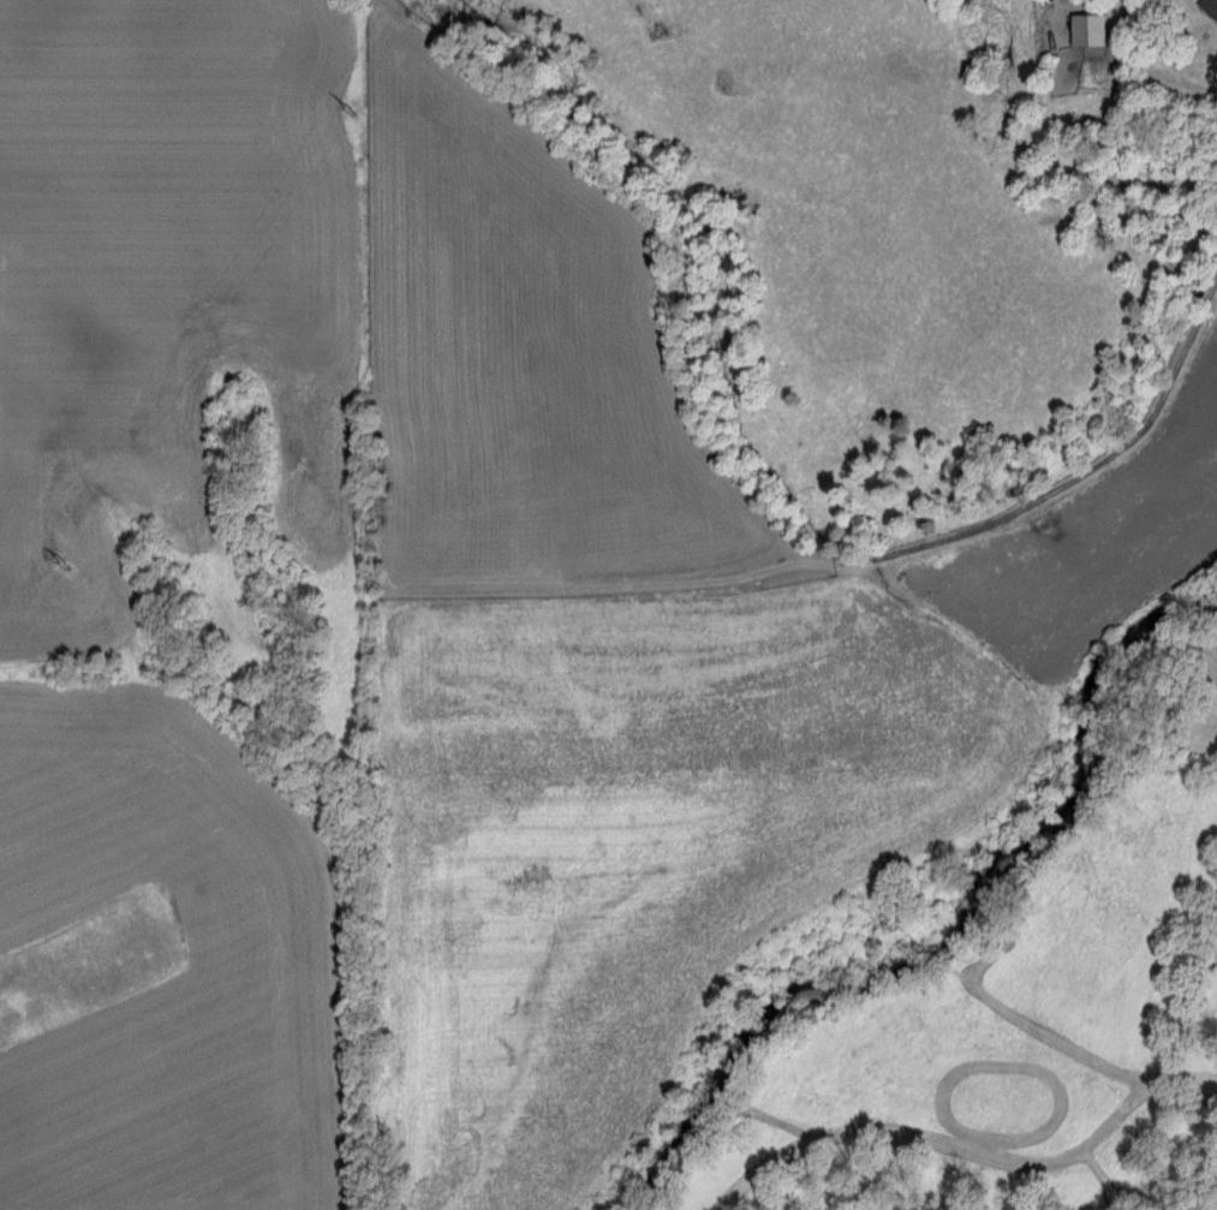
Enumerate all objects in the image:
building: (1207, 8)
building: (1078, 28)
power tower: (357, 101)
power tower: (70, 562)

